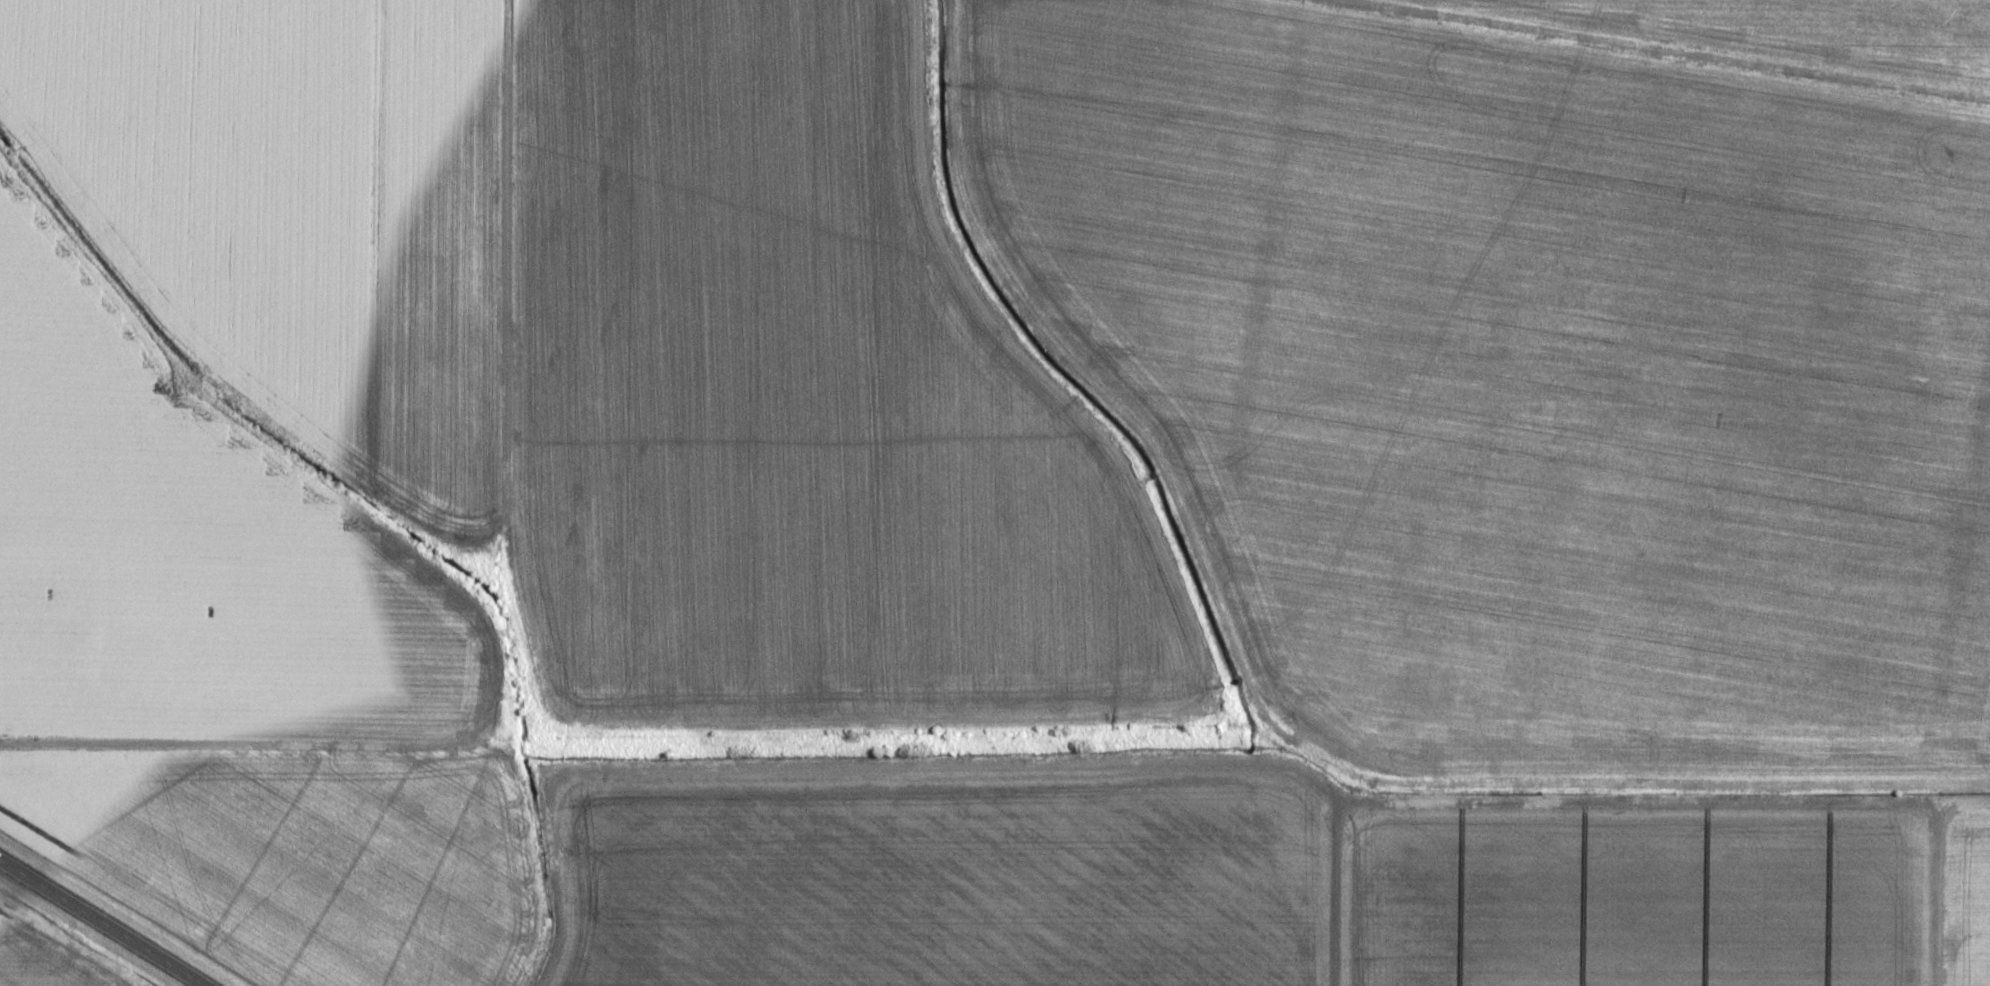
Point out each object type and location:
road: (100, 924)

